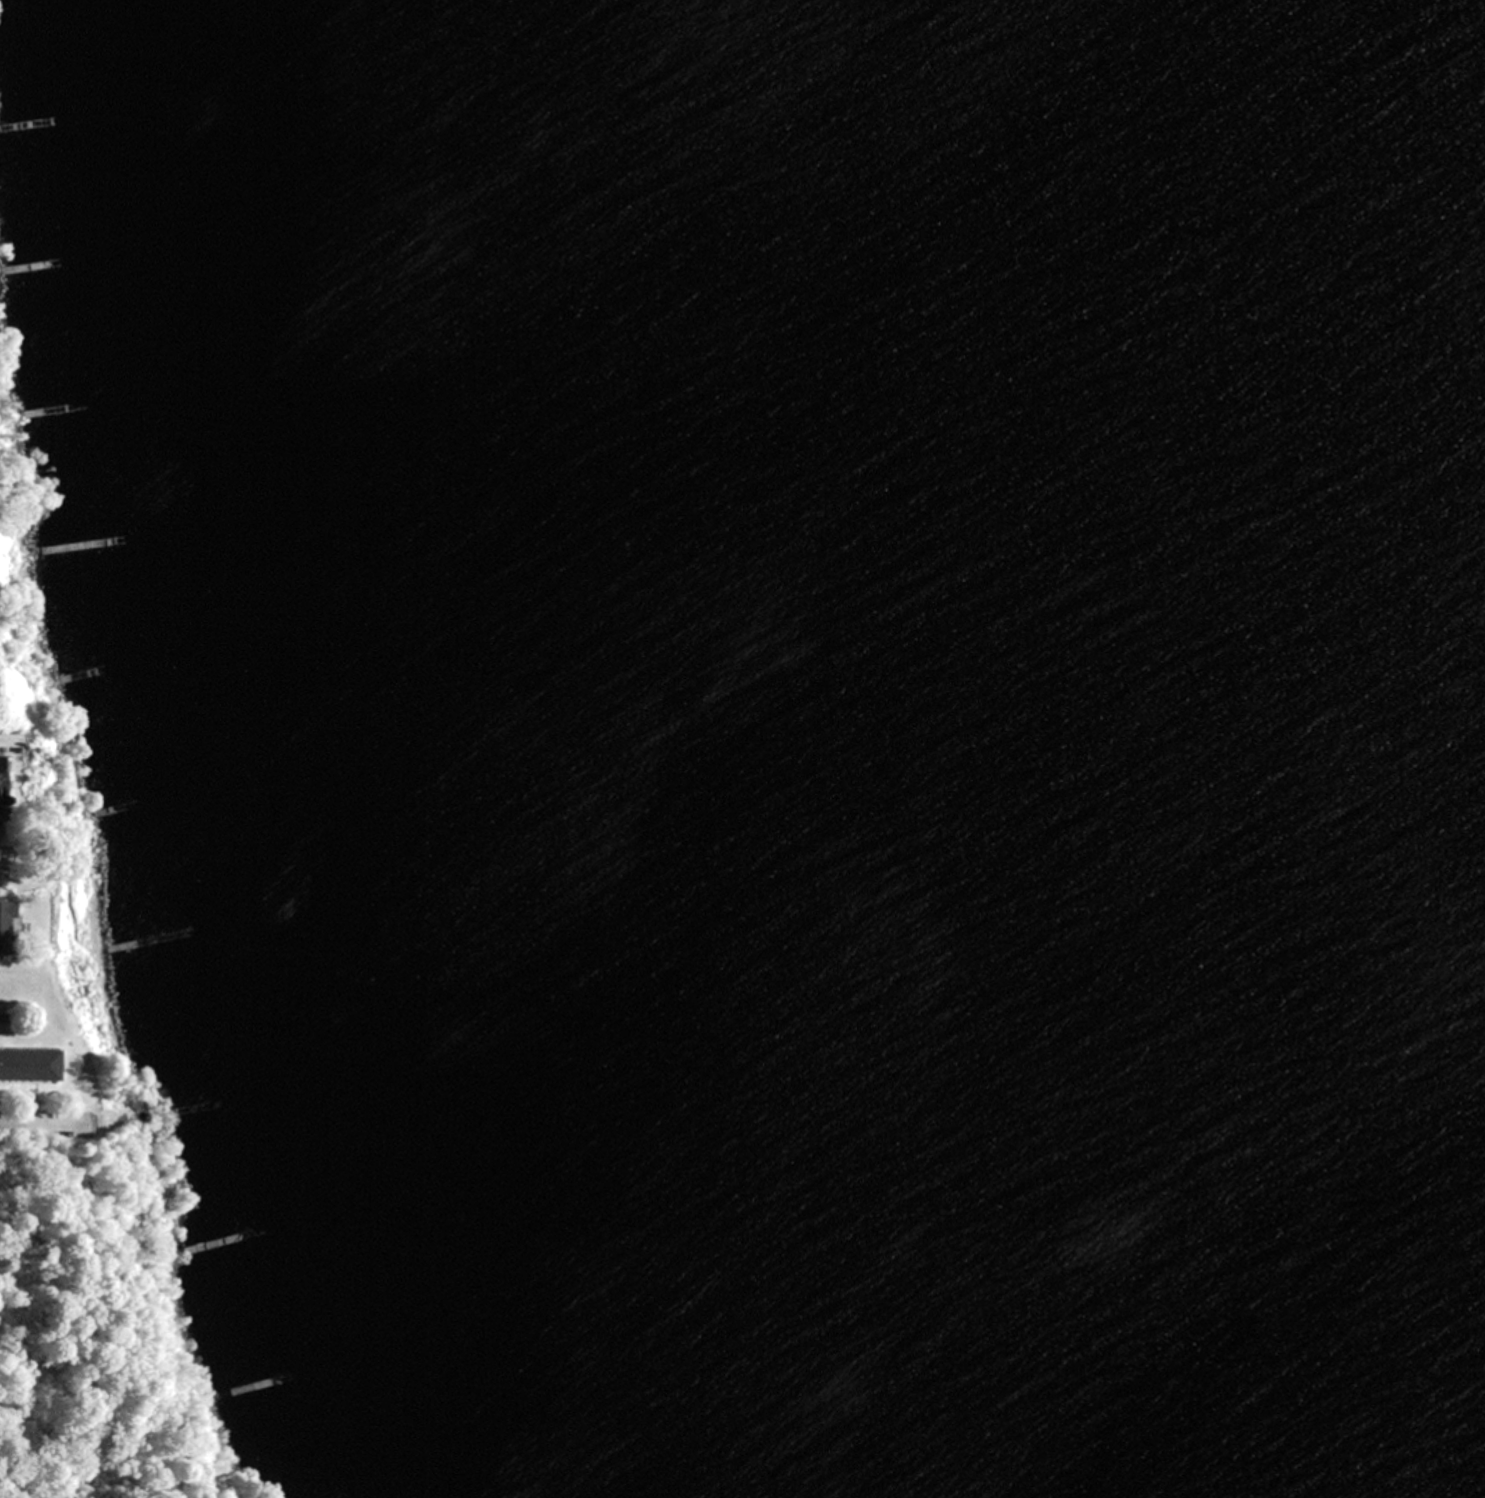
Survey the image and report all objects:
road: (3, 355)
building: (1, 788)
road: (2, 866)
building: (7, 928)
building: (28, 1064)
road: (43, 1124)
park: (93, 1337)

